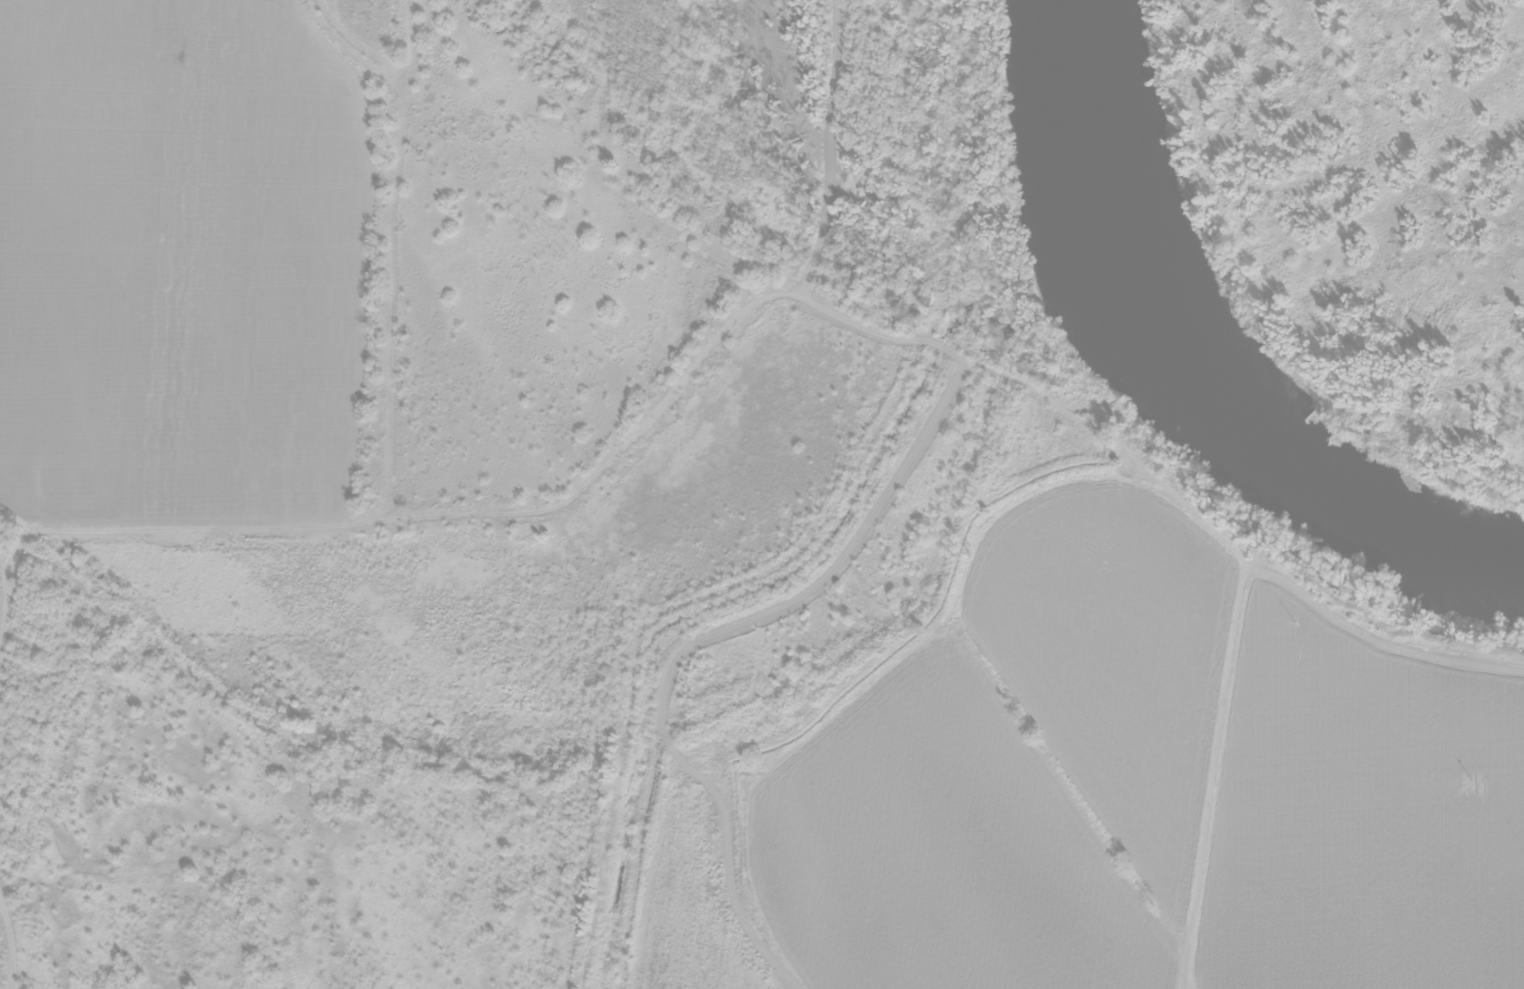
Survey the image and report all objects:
river: (1180, 363)

